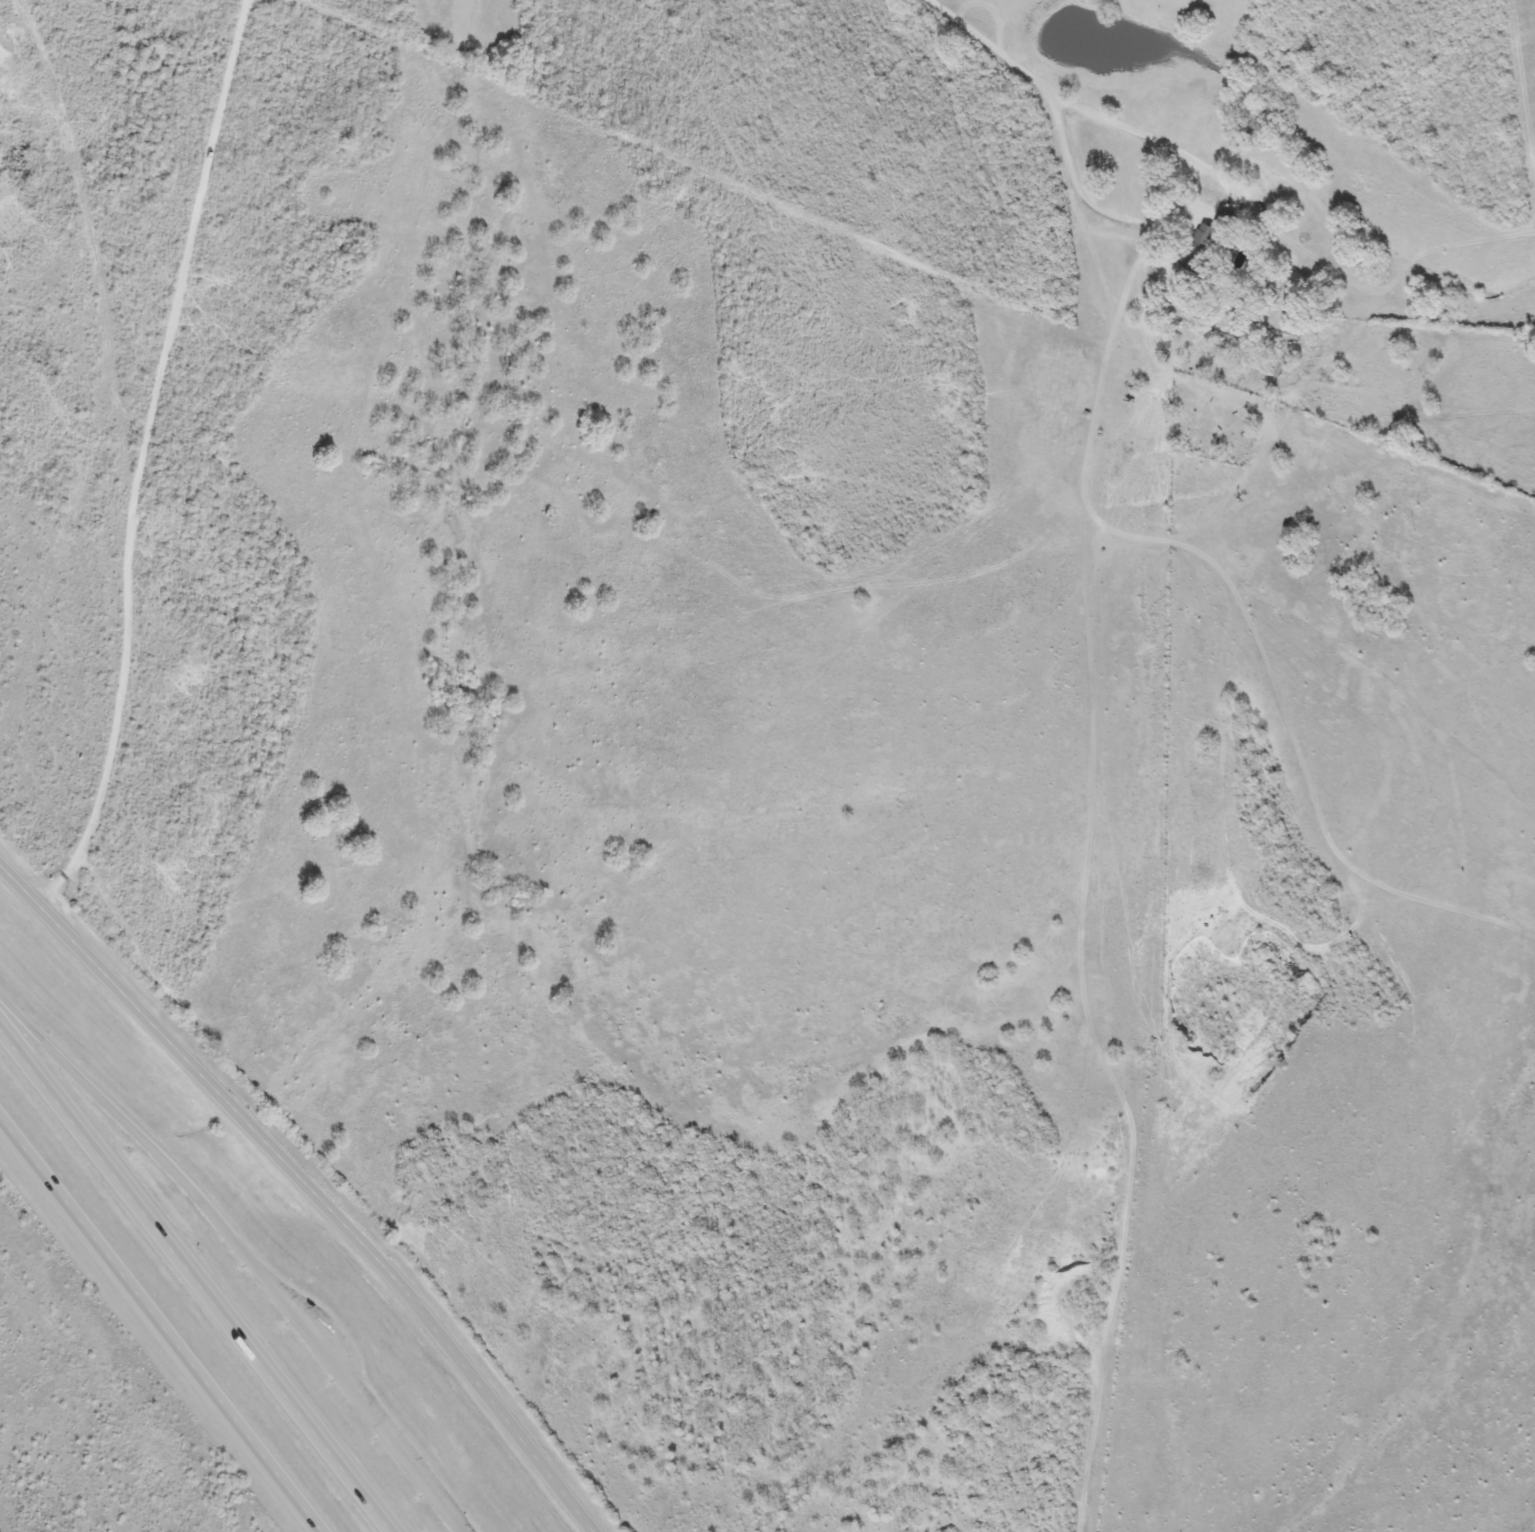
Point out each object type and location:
road: (1090, 112)
building: (1206, 238)
building: (1030, 325)
road: (140, 458)
road: (19, 1018)
road: (141, 1137)
road: (308, 1190)
road: (198, 1278)
road: (157, 1327)
road: (352, 1387)

